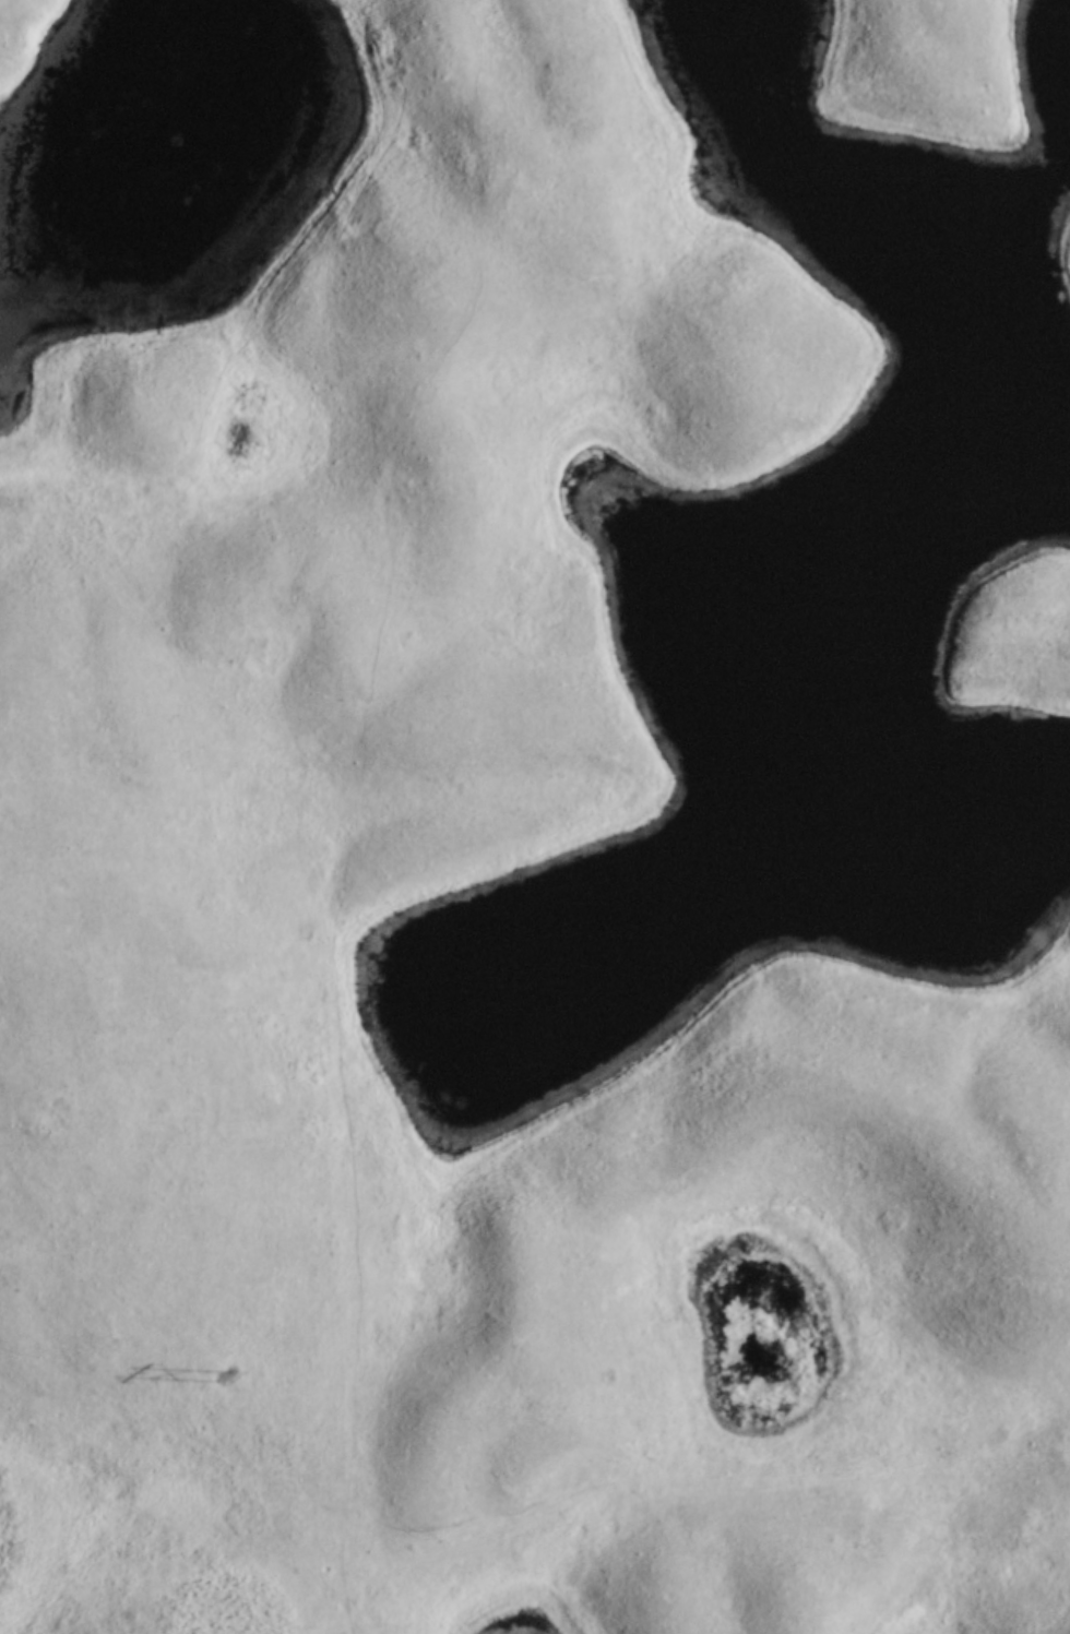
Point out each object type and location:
power tower: (225, 1376)

